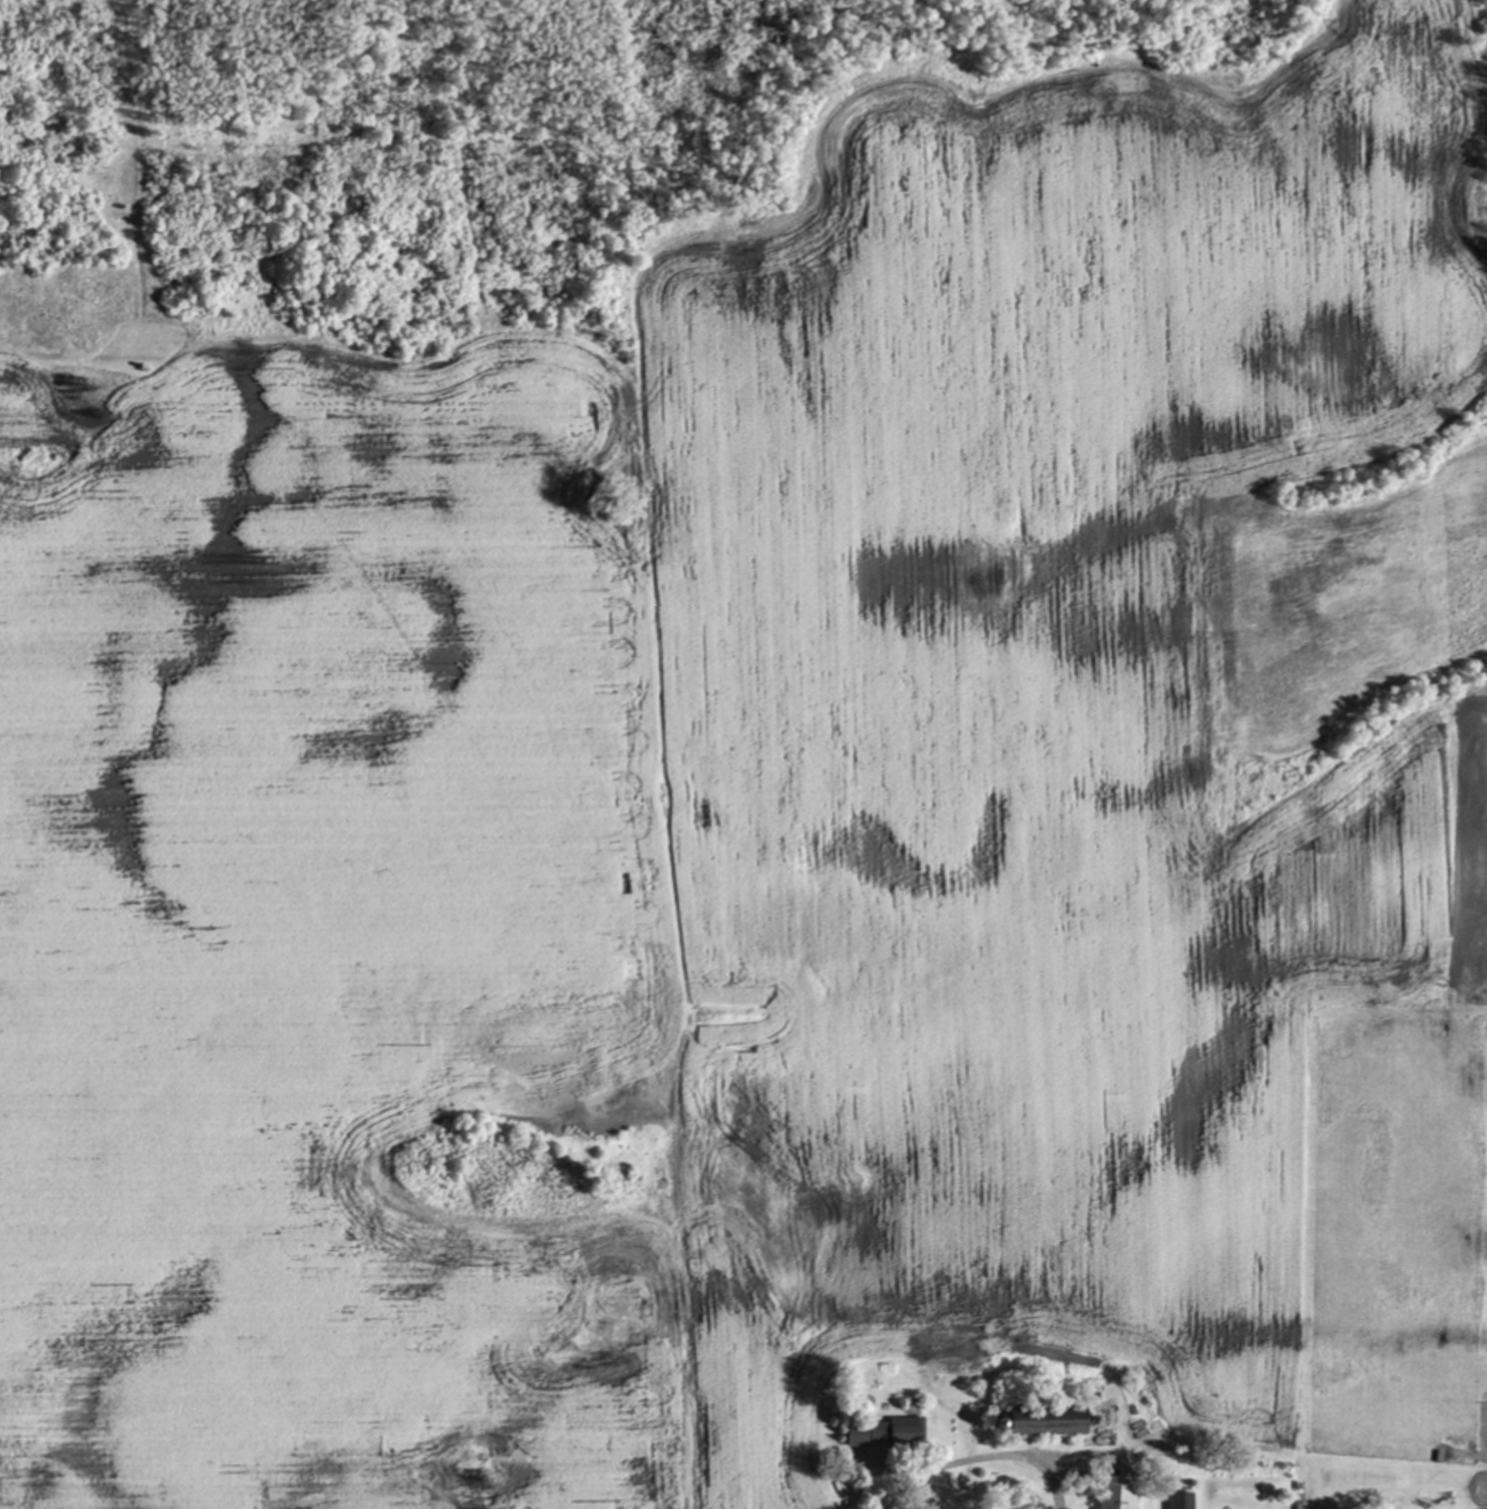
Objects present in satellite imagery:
building: (1128, 1391)
building: (1046, 1416)
building: (1094, 1416)
building: (1001, 1419)
building: (889, 1429)
building: (1118, 1429)
building: (1095, 1440)
building: (1084, 1475)
building: (1117, 1490)
building: (1182, 1498)
building: (1485, 1508)

